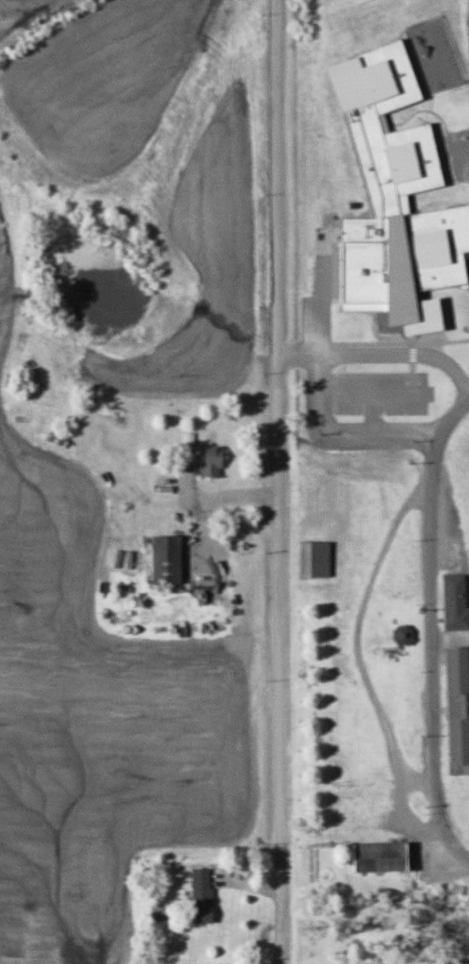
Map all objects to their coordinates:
park: (468, 15)
building: (394, 199)
building: (210, 460)
road: (277, 481)
road: (204, 504)
building: (314, 558)
building: (164, 559)
road: (369, 584)
building: (455, 601)
building: (402, 634)
road: (436, 651)
building: (456, 706)
road: (403, 798)
building: (377, 856)
road: (439, 864)
building: (201, 894)

